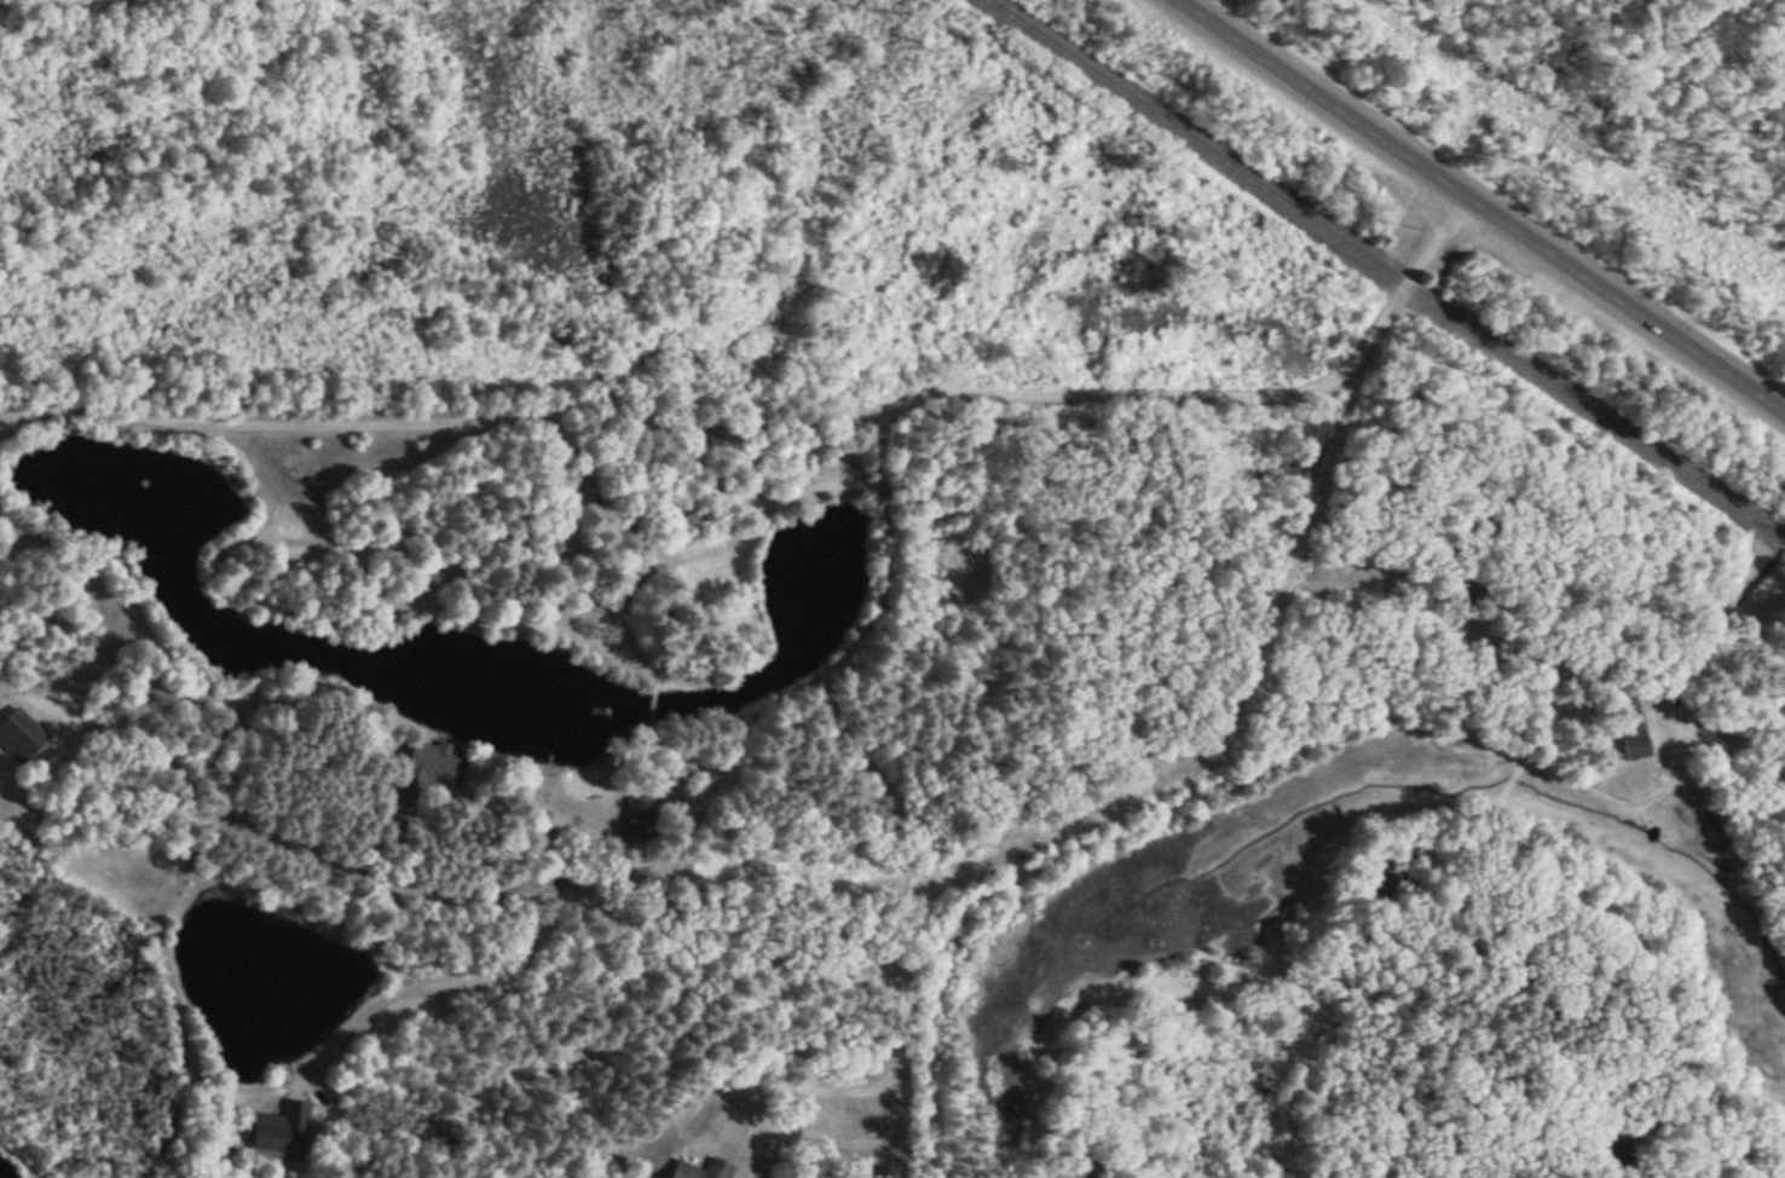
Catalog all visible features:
road: (1481, 206)
railway: (1377, 272)
road: (882, 524)
building: (1636, 727)
building: (23, 735)
building: (439, 766)
building: (642, 815)
road: (577, 894)
building: (287, 1130)
building: (707, 1170)

